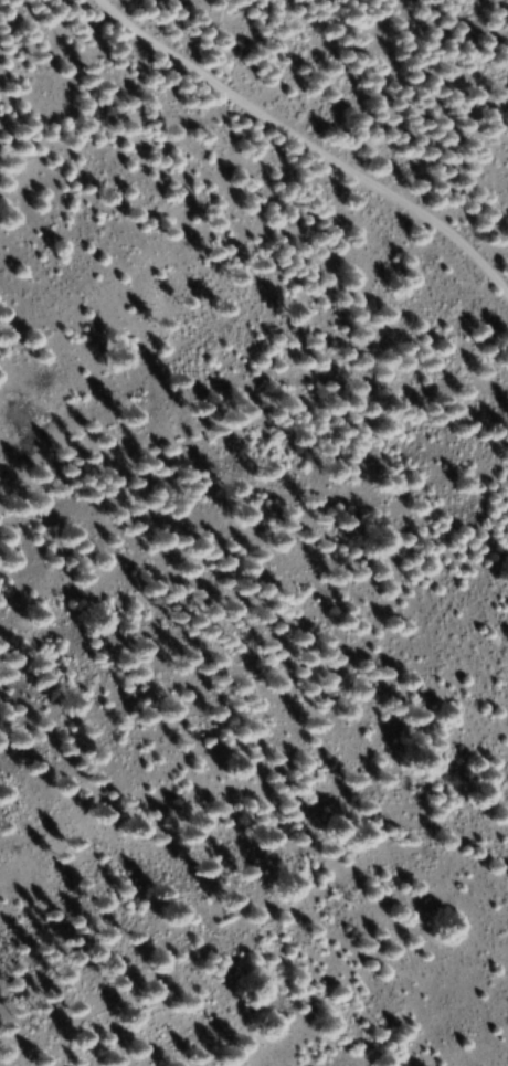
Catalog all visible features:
road: (373, 223)

